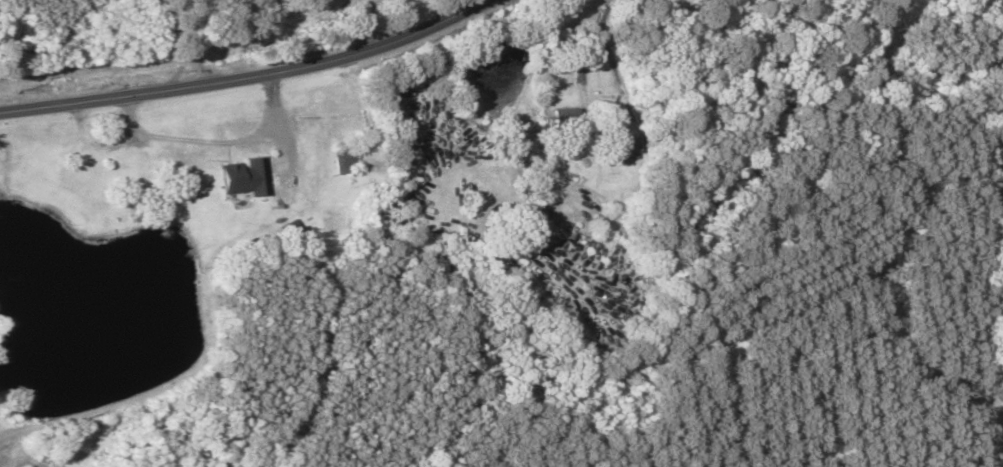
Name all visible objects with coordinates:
road: (248, 74)
building: (564, 118)
building: (618, 150)
building: (180, 159)
building: (335, 162)
building: (439, 270)

